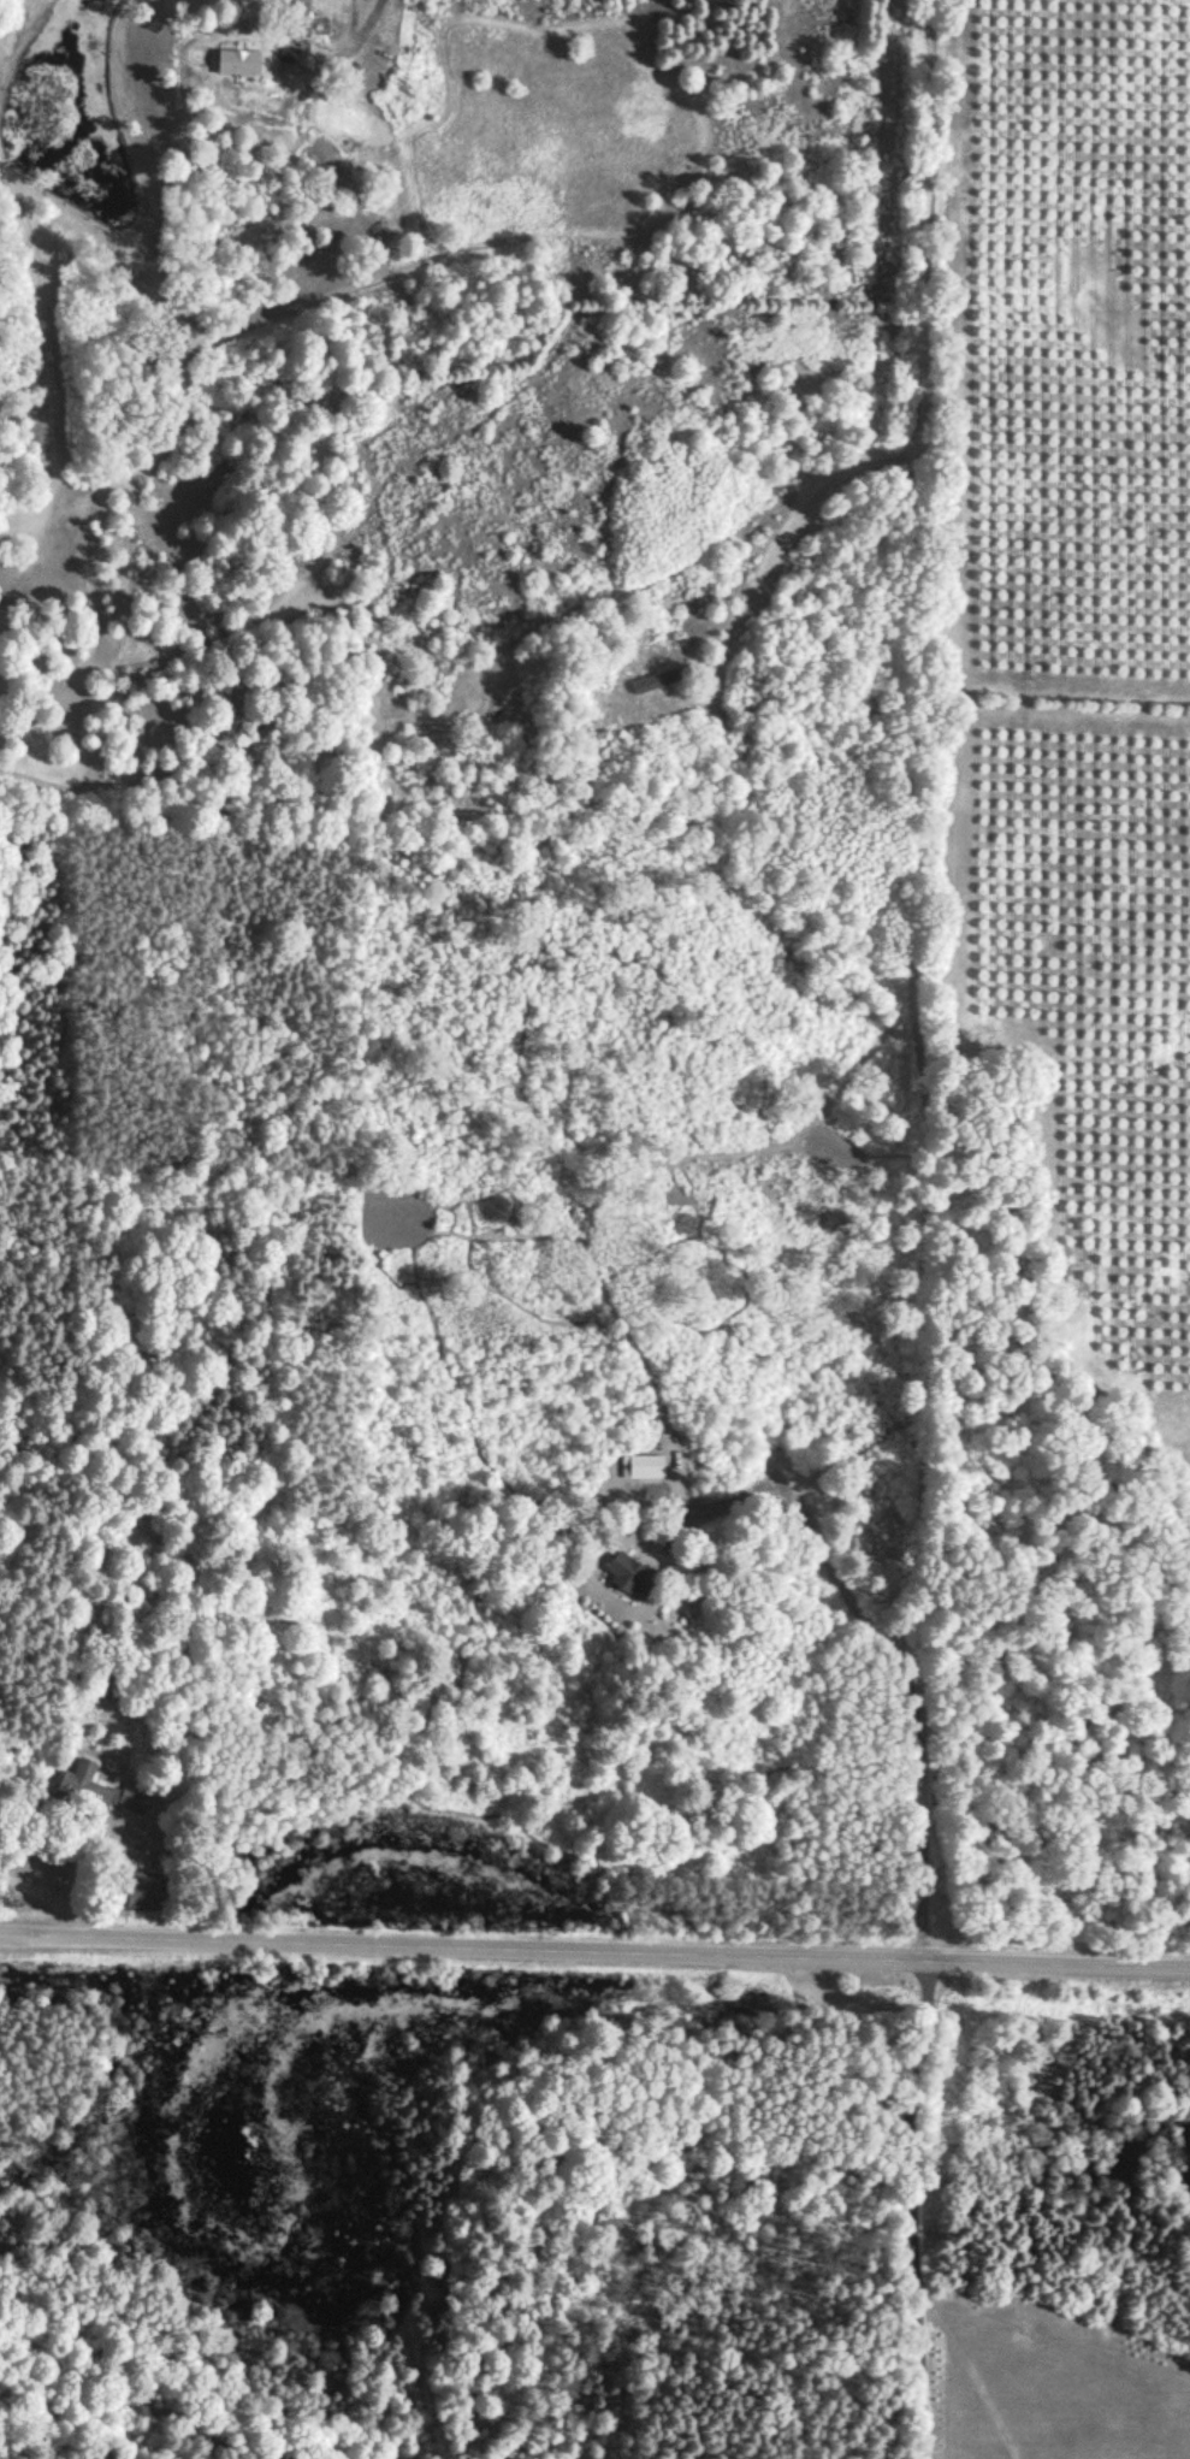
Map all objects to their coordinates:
building: (295, 18)
road: (324, 18)
building: (235, 63)
building: (658, 681)
road: (908, 979)
road: (704, 1072)
building: (643, 1468)
building: (626, 1578)
building: (83, 1786)
building: (142, 1892)
road: (594, 1949)

